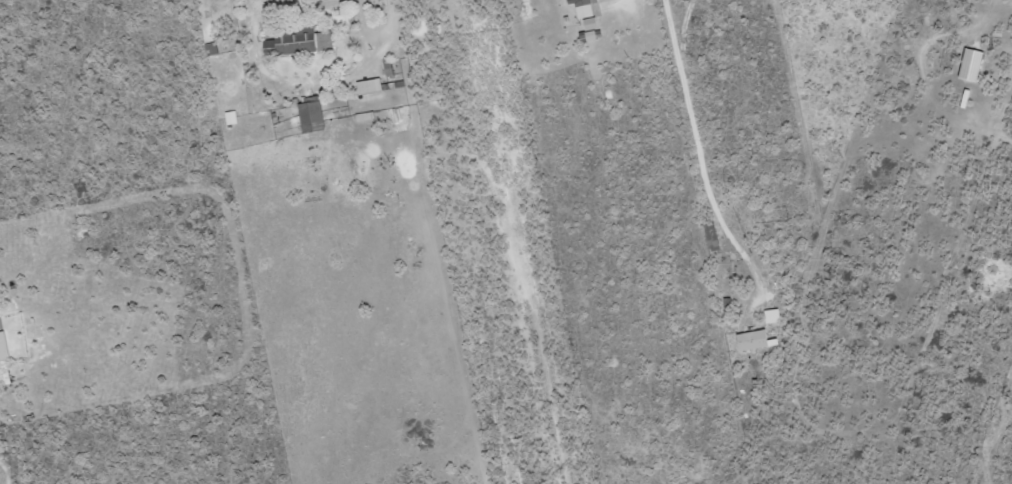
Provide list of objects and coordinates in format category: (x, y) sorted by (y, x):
building: (585, 17)
road: (376, 31)
building: (296, 41)
building: (969, 64)
building: (367, 85)
building: (310, 116)
building: (231, 117)
railway: (509, 242)
building: (771, 315)
building: (753, 339)
building: (6, 360)

